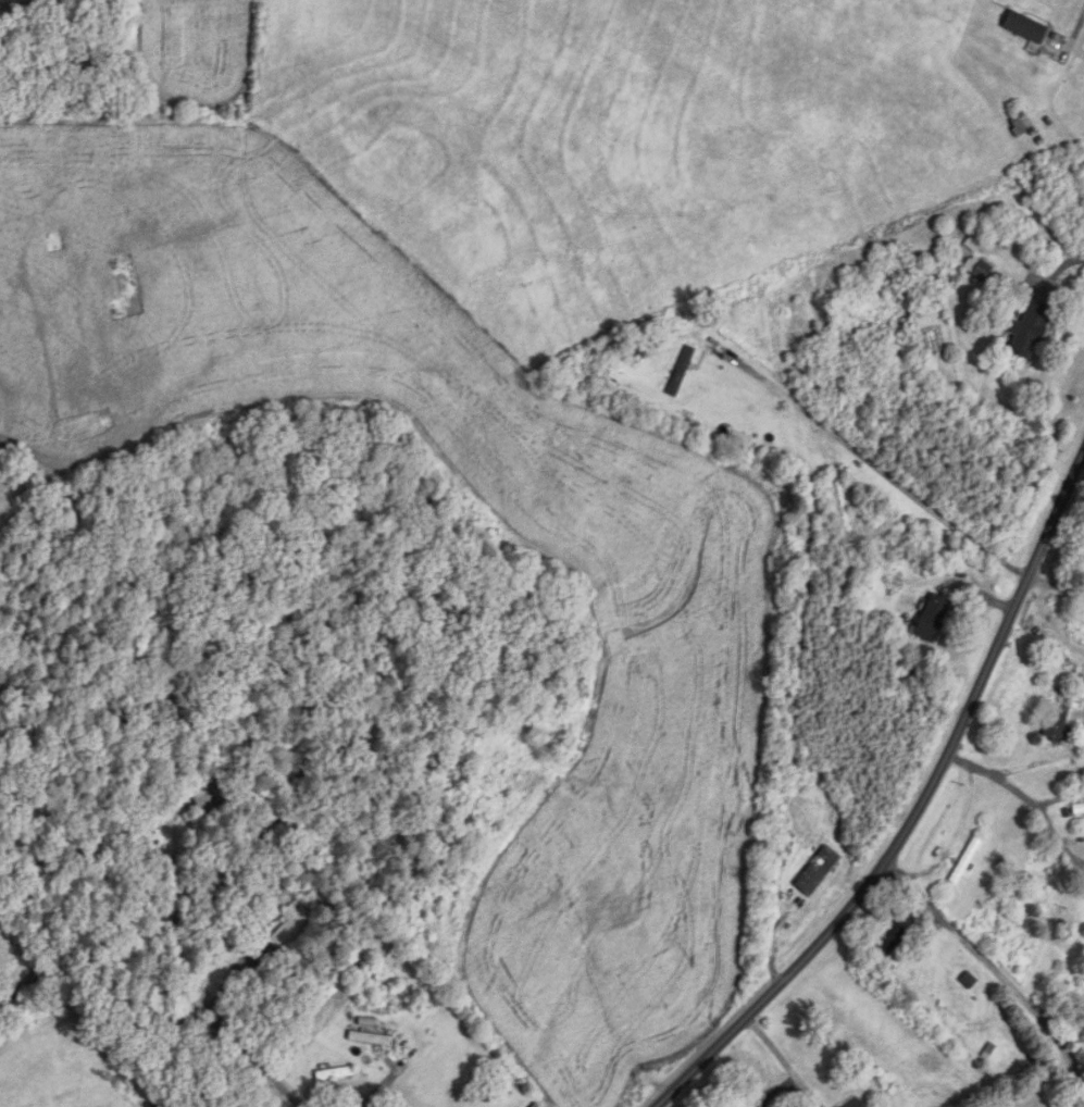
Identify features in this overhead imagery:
building: (1026, 27)
road: (1071, 30)
building: (1021, 125)
road: (1066, 265)
building: (983, 271)
building: (1030, 331)
building: (683, 371)
road: (871, 461)
building: (933, 619)
road: (1027, 795)
building: (214, 796)
building: (1080, 807)
road: (920, 810)
building: (967, 861)
building: (818, 871)
building: (290, 928)
building: (894, 940)
road: (995, 968)
building: (385, 997)
building: (370, 1038)
road: (784, 1057)
building: (336, 1073)
road: (394, 1078)
road: (290, 1096)
building: (856, 1103)
building: (256, 1106)

